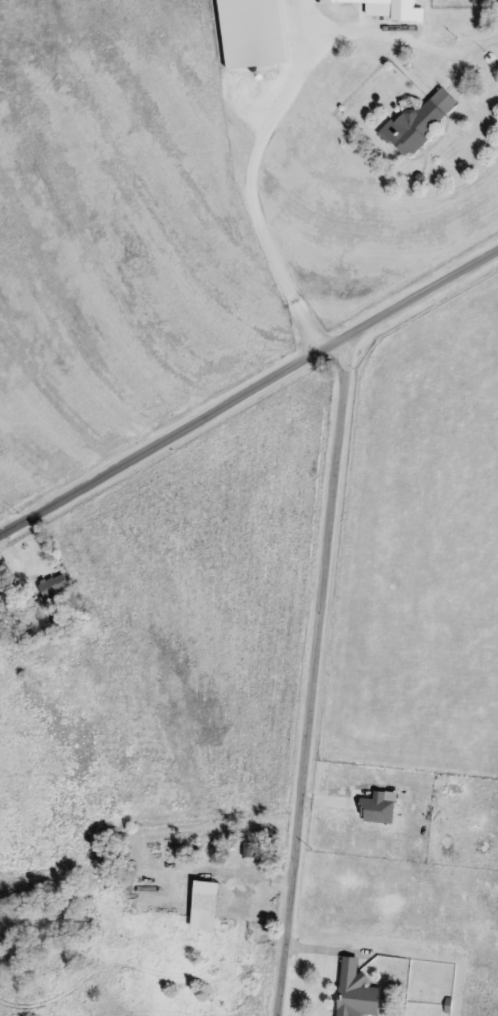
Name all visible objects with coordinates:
building: (390, 8)
building: (249, 34)
road: (279, 112)
building: (418, 123)
road: (249, 392)
road: (17, 567)
building: (55, 584)
road: (313, 675)
building: (109, 858)
building: (357, 991)

